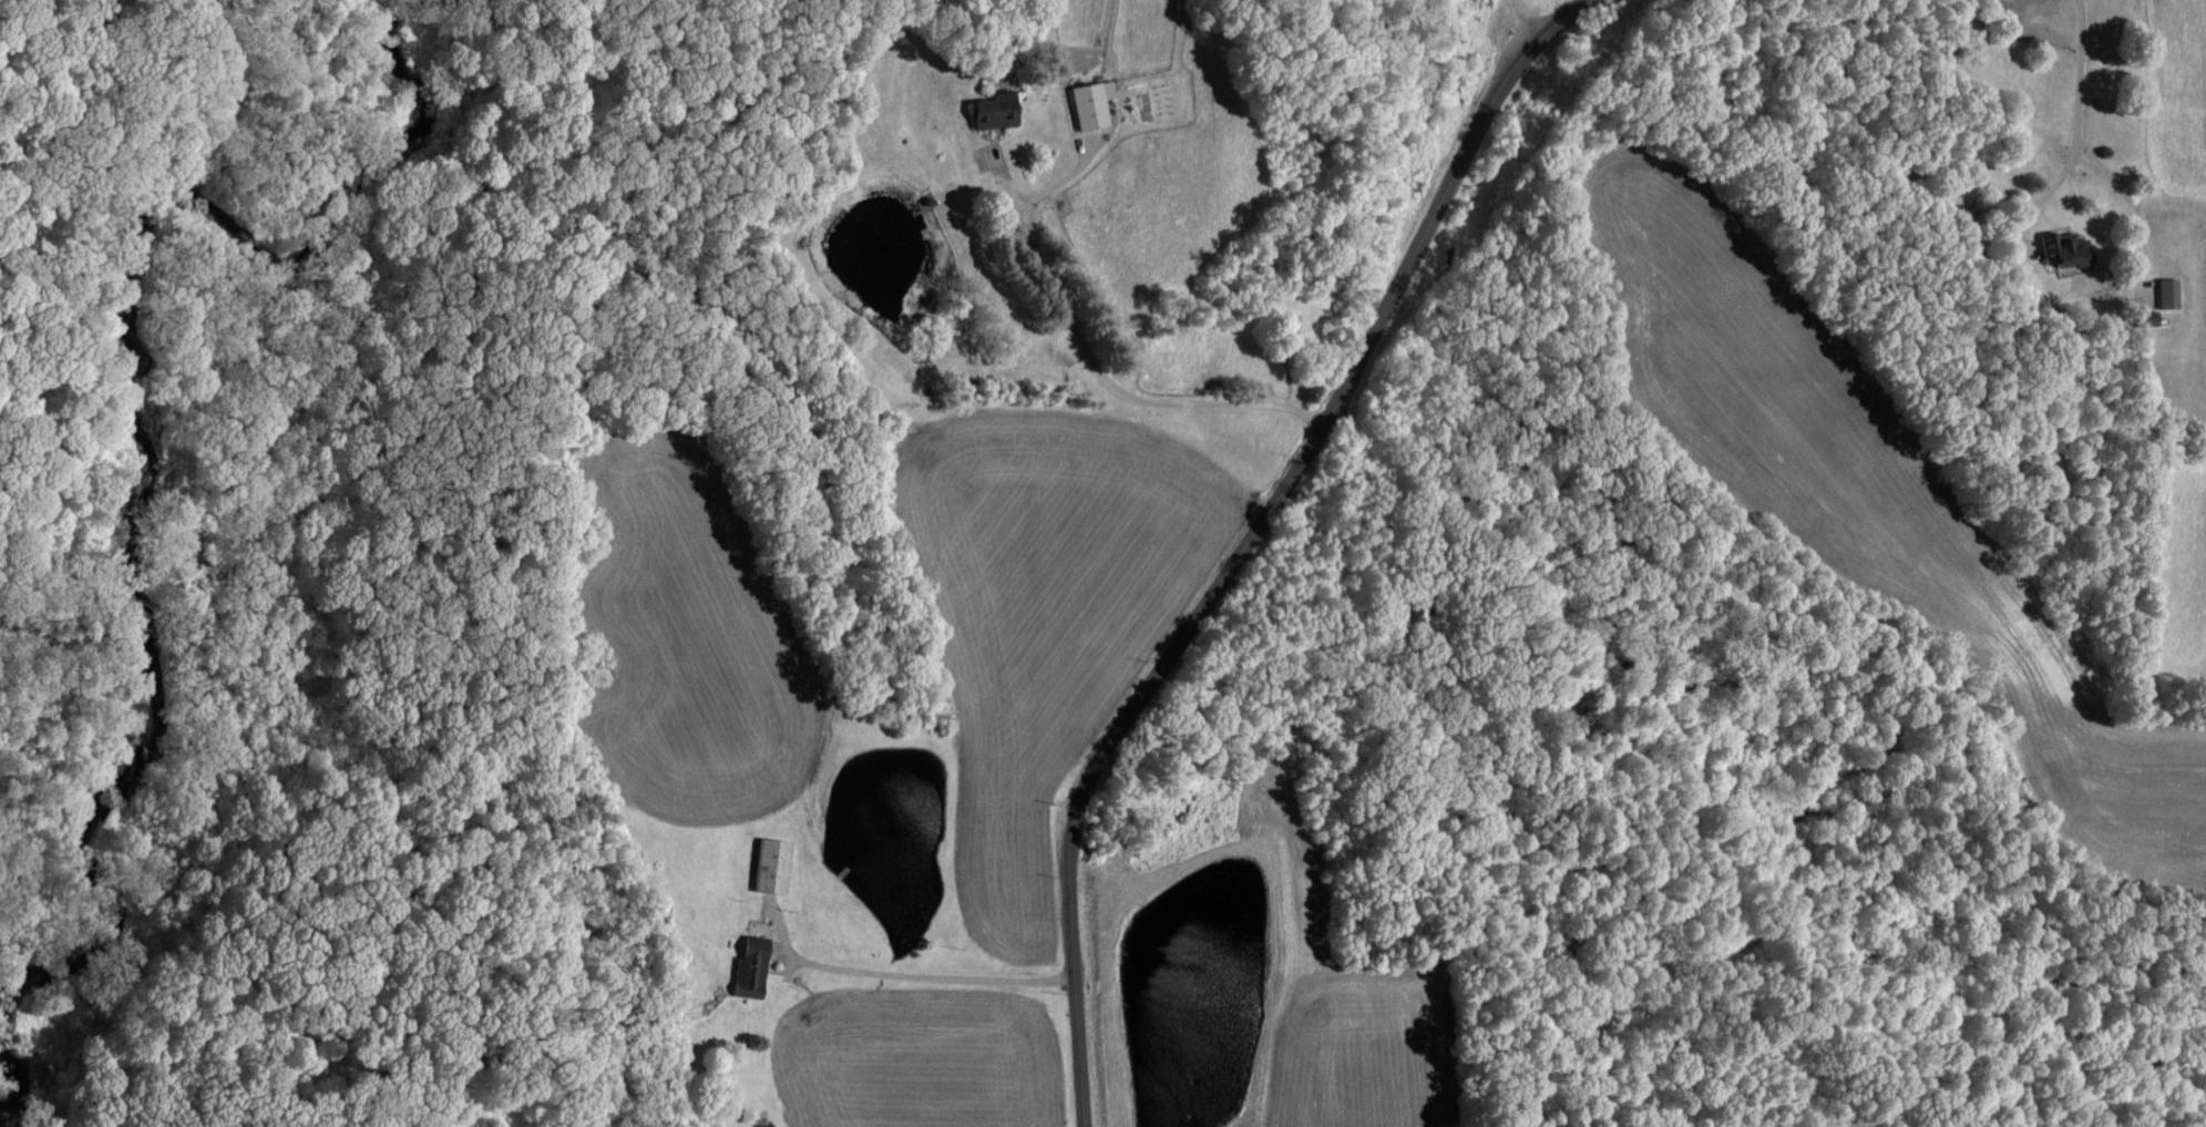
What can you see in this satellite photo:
building: (1088, 102)
building: (988, 110)
building: (2064, 252)
building: (2166, 293)
building: (2144, 317)
road: (1249, 537)
building: (767, 864)
building: (750, 963)
road: (920, 975)

